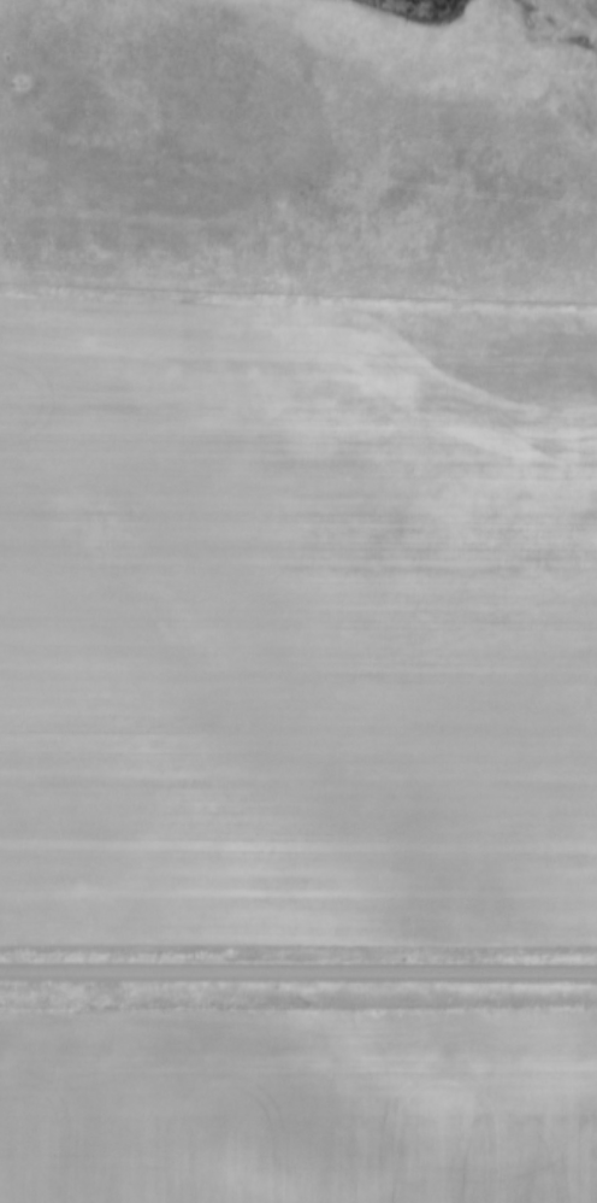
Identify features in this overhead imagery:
road: (297, 976)

